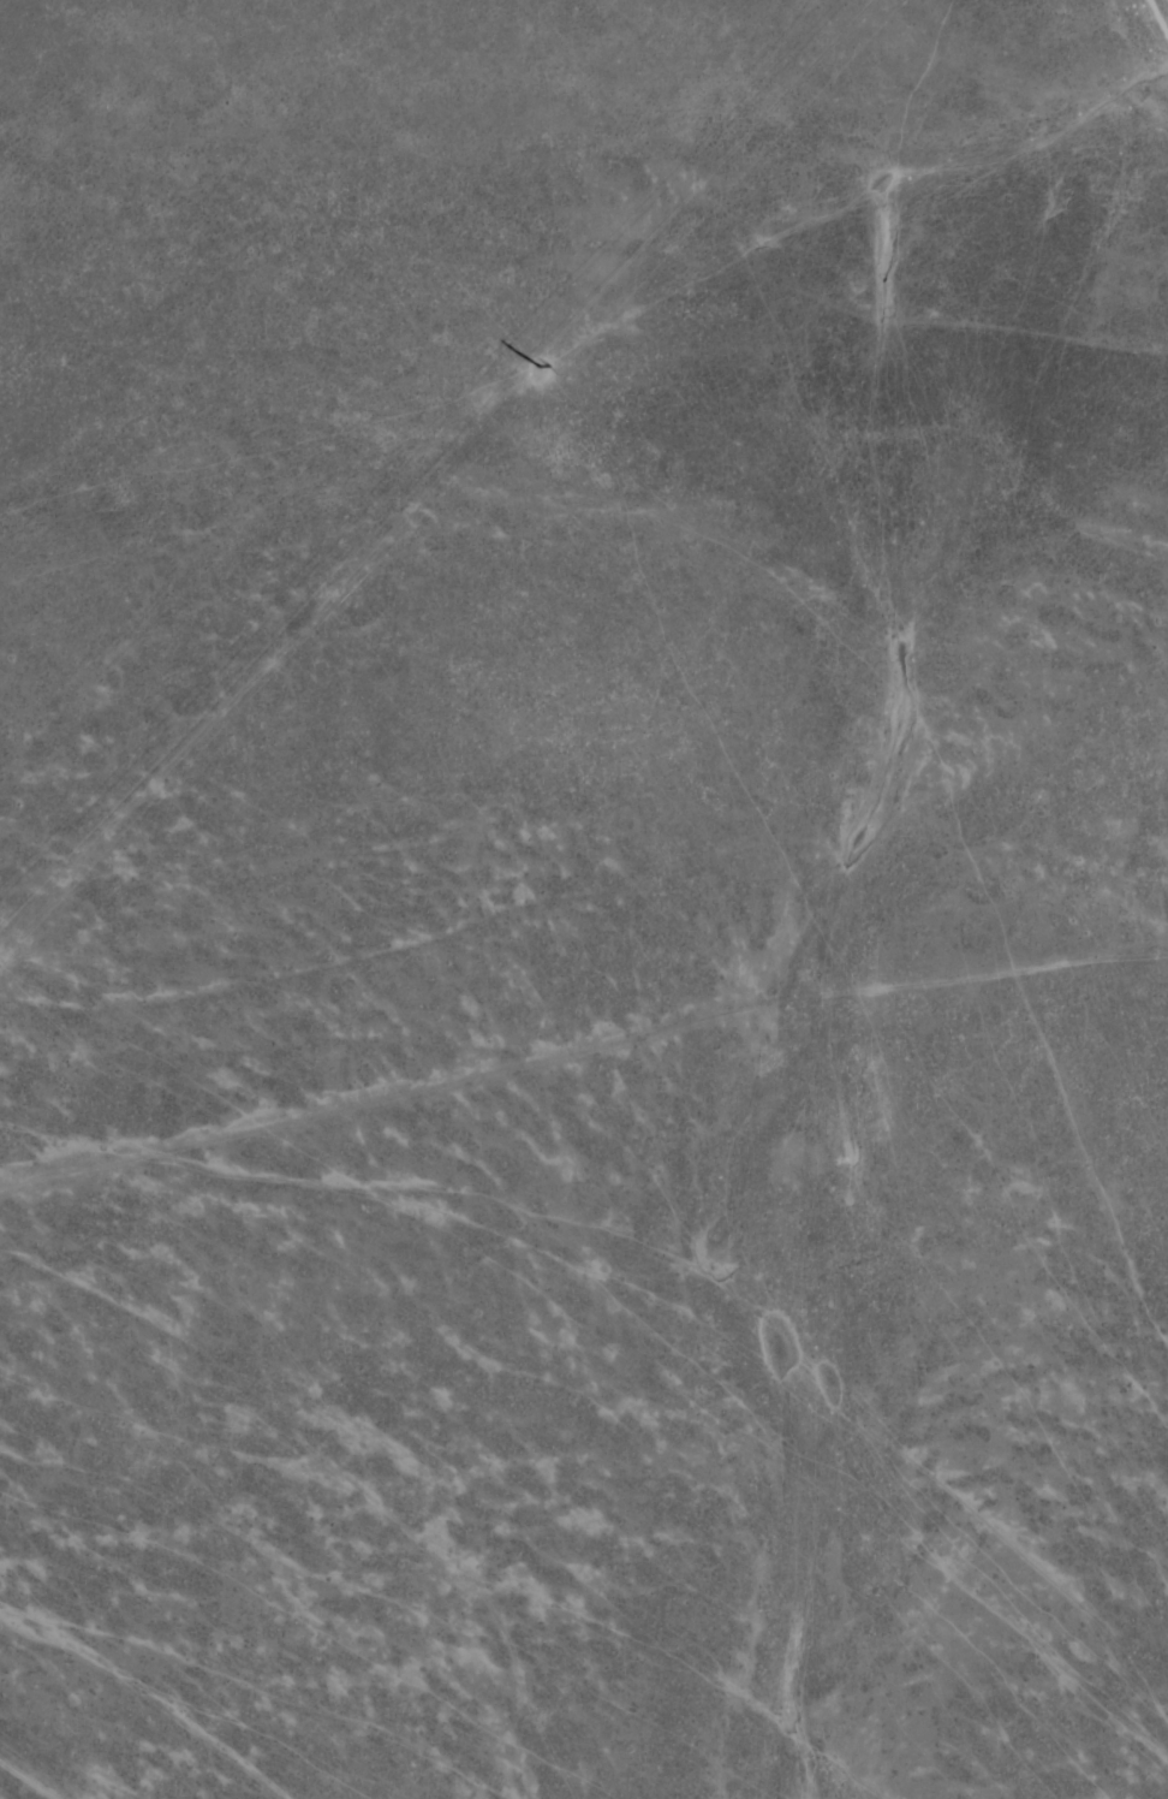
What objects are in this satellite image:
power tower: (535, 367)
road: (519, 465)
road: (579, 1032)

